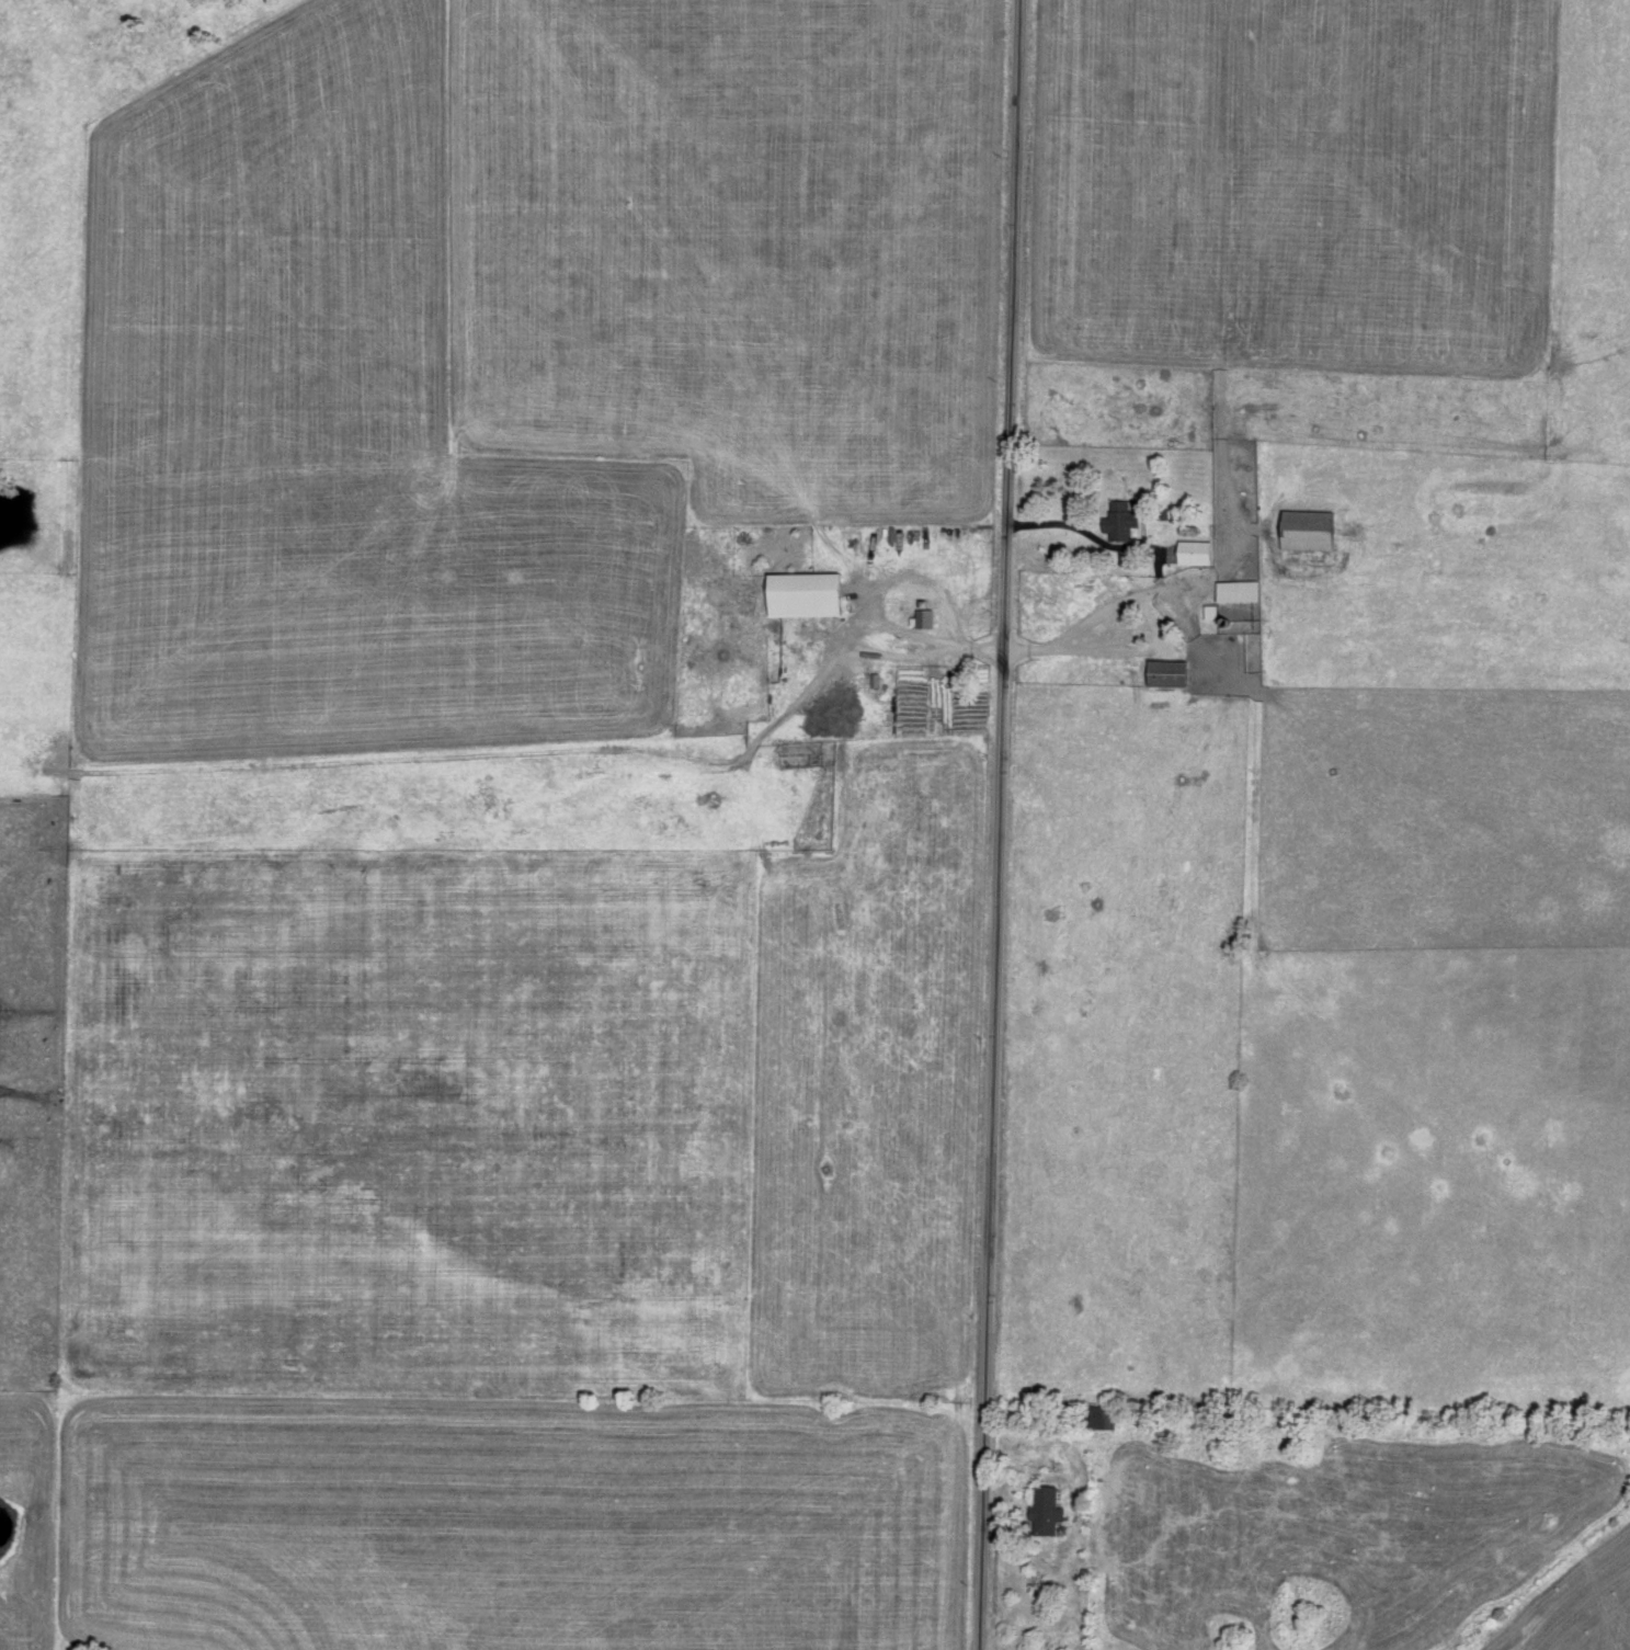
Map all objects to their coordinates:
building: (1201, 512)
building: (1118, 522)
building: (1304, 532)
building: (800, 596)
building: (921, 619)
building: (1204, 619)
road: (1156, 649)
building: (1165, 674)
road: (995, 824)
building: (1097, 1419)
building: (1041, 1512)

